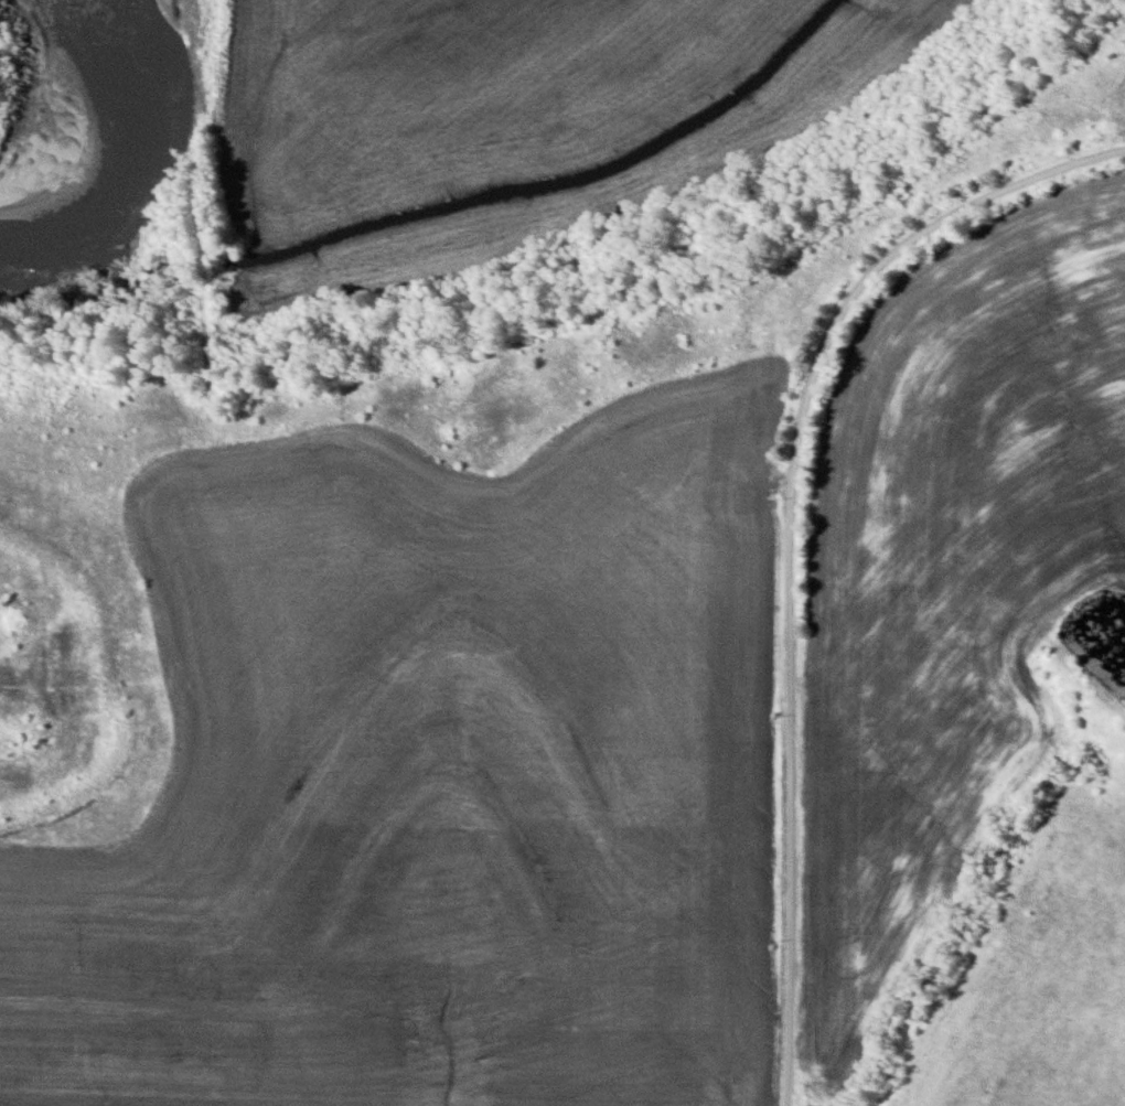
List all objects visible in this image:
crop: (514, 119)
river: (106, 135)
road: (791, 536)

